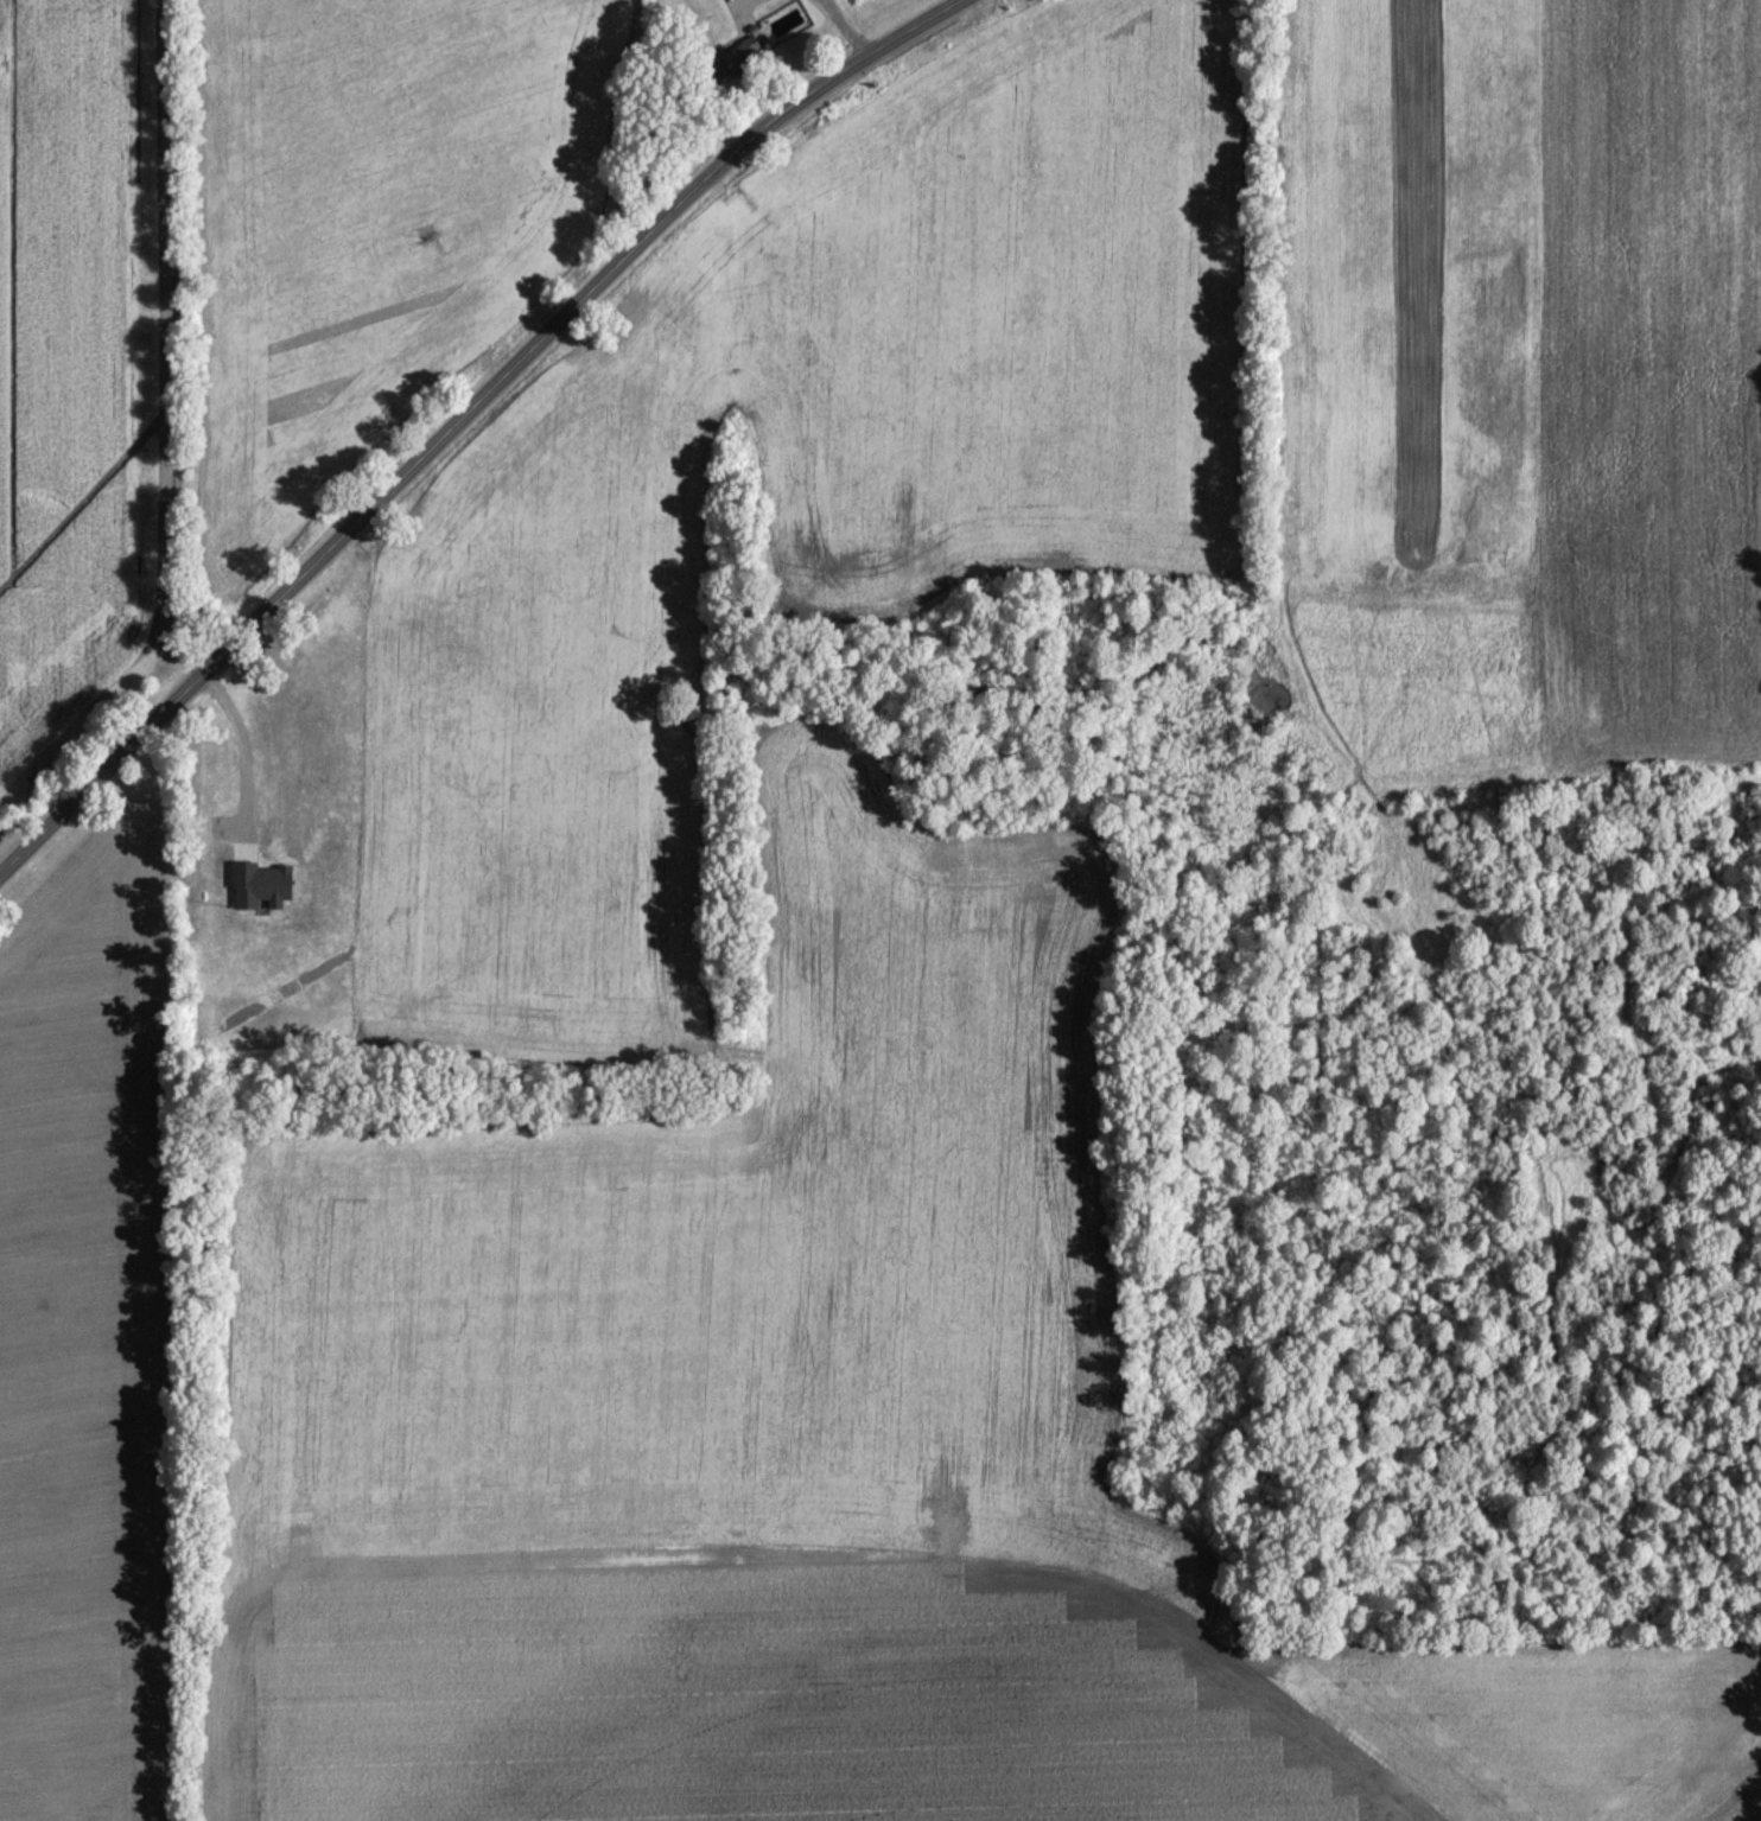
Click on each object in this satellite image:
building: (744, 0)
road: (464, 406)

